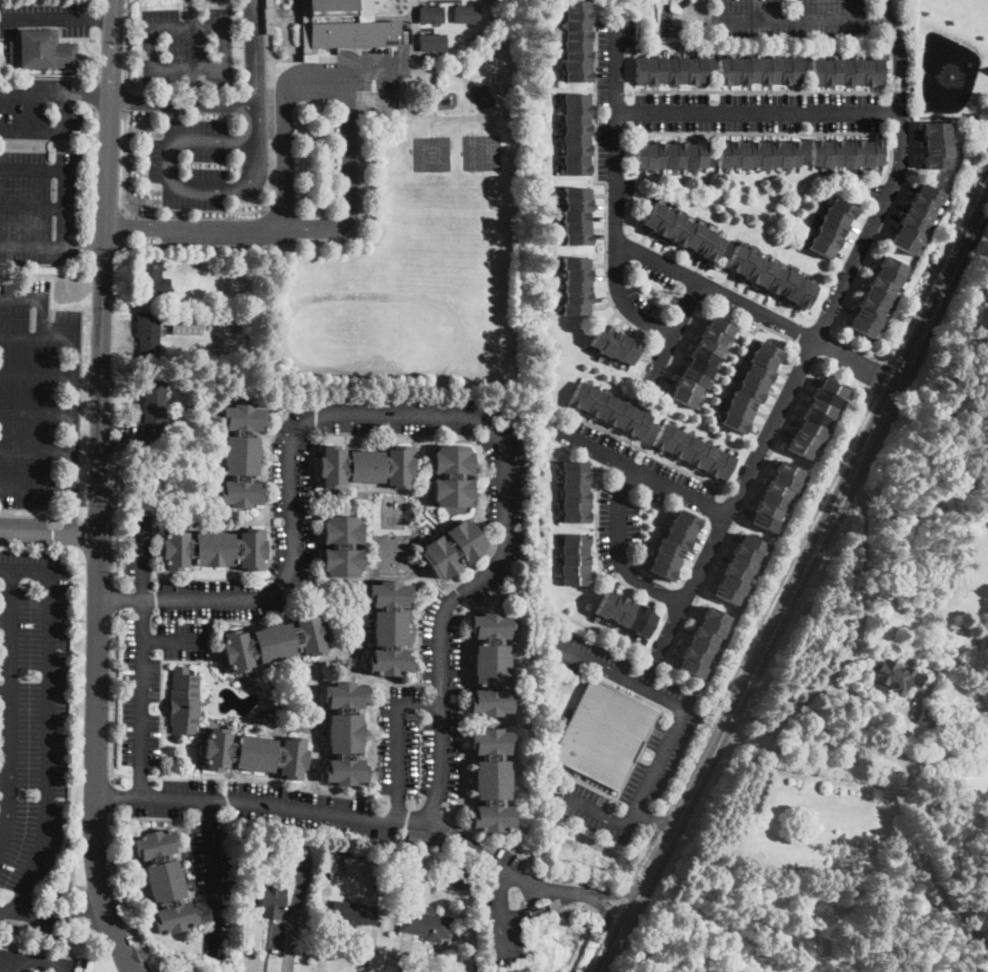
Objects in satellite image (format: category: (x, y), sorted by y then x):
building: (414, 1)
building: (575, 5)
road: (184, 9)
road: (702, 9)
building: (430, 13)
building: (465, 13)
road: (193, 14)
building: (577, 15)
parking lot: (42, 16)
road: (401, 16)
building: (269, 17)
road: (99, 18)
parking lot: (763, 18)
road: (44, 19)
road: (777, 19)
building: (576, 25)
building: (343, 26)
road: (472, 35)
building: (577, 35)
building: (431, 40)
road: (126, 43)
parking lot: (187, 45)
building: (575, 45)
building: (41, 51)
building: (577, 55)
road: (97, 56)
road: (339, 58)
road: (432, 60)
road: (179, 66)
building: (577, 66)
parking lot: (388, 69)
building: (660, 70)
building: (681, 70)
building: (753, 70)
building: (773, 70)
road: (362, 71)
building: (639, 71)
building: (650, 71)
building: (690, 71)
building: (700, 71)
building: (722, 71)
building: (733, 71)
building: (743, 71)
building: (764, 71)
building: (793, 71)
building: (837, 71)
building: (670, 72)
building: (783, 72)
building: (815, 72)
building: (856, 72)
building: (876, 72)
building: (827, 73)
building: (846, 73)
building: (866, 73)
building: (577, 76)
road: (338, 78)
parking lot: (901, 81)
road: (109, 83)
road: (765, 91)
road: (31, 94)
road: (94, 94)
road: (85, 95)
road: (124, 98)
building: (576, 98)
road: (183, 102)
road: (269, 102)
building: (577, 107)
parking lot: (38, 110)
parking lot: (703, 110)
road: (757, 111)
road: (61, 113)
building: (576, 118)
road: (482, 120)
building: (934, 127)
building: (577, 129)
road: (30, 130)
road: (763, 133)
building: (575, 138)
building: (935, 138)
building: (577, 148)
building: (815, 151)
building: (835, 151)
building: (855, 151)
building: (937, 151)
building: (825, 152)
building: (845, 152)
building: (876, 152)
building: (732, 153)
building: (866, 153)
building: (722, 154)
building: (742, 154)
building: (753, 154)
building: (773, 154)
building: (793, 154)
building: (639, 155)
building: (660, 155)
building: (700, 155)
building: (763, 155)
building: (783, 155)
building: (650, 156)
building: (670, 156)
building: (679, 156)
building: (690, 156)
building: (575, 159)
road: (122, 160)
building: (934, 163)
parking lot: (190, 164)
road: (32, 168)
building: (577, 170)
road: (92, 171)
parking lot: (889, 176)
road: (224, 189)
road: (615, 192)
building: (574, 193)
building: (929, 193)
road: (607, 200)
building: (922, 203)
building: (576, 204)
parking lot: (40, 205)
road: (32, 206)
road: (64, 207)
building: (840, 208)
building: (918, 214)
building: (573, 215)
building: (651, 215)
building: (835, 217)
building: (661, 222)
building: (912, 224)
building: (574, 226)
building: (672, 226)
road: (120, 227)
road: (132, 227)
road: (222, 227)
road: (289, 227)
building: (831, 227)
road: (355, 230)
parking lot: (227, 231)
building: (681, 232)
building: (908, 235)
building: (692, 236)
building: (827, 238)
building: (576, 239)
building: (702, 242)
building: (902, 244)
road: (31, 245)
road: (83, 246)
building: (819, 248)
building: (712, 249)
building: (732, 259)
building: (575, 263)
building: (744, 263)
building: (890, 265)
building: (753, 269)
building: (576, 274)
building: (764, 275)
building: (888, 276)
building: (774, 281)
building: (152, 283)
building: (785, 283)
building: (576, 285)
building: (880, 286)
building: (795, 289)
parking lot: (838, 292)
parking lot: (653, 294)
road: (120, 295)
building: (804, 295)
building: (876, 296)
road: (21, 297)
building: (577, 297)
building: (870, 306)
building: (575, 308)
road: (756, 309)
parking lot: (754, 310)
road: (42, 316)
road: (117, 317)
building: (866, 317)
building: (187, 325)
building: (720, 326)
building: (861, 328)
road: (749, 329)
building: (148, 331)
road: (673, 331)
road: (37, 334)
track: (371, 335)
building: (712, 335)
building: (599, 336)
road: (815, 340)
building: (608, 343)
building: (618, 346)
building: (708, 346)
road: (854, 347)
building: (768, 351)
building: (629, 352)
building: (703, 356)
building: (762, 360)
building: (699, 367)
building: (759, 372)
road: (37, 376)
building: (694, 376)
road: (883, 377)
building: (752, 381)
building: (688, 387)
building: (831, 388)
building: (643, 389)
building: (749, 392)
building: (577, 395)
building: (586, 397)
building: (824, 397)
parking lot: (38, 398)
building: (682, 398)
building: (153, 400)
building: (741, 401)
building: (595, 404)
building: (605, 407)
building: (819, 408)
building: (613, 412)
building: (738, 412)
road: (37, 413)
road: (435, 415)
building: (623, 415)
building: (813, 419)
building: (631, 422)
building: (733, 423)
building: (642, 426)
building: (811, 430)
road: (73, 435)
building: (660, 436)
road: (131, 438)
building: (805, 439)
building: (669, 441)
building: (679, 445)
building: (689, 449)
building: (798, 449)
road: (36, 452)
building: (697, 454)
building: (241, 456)
building: (706, 458)
building: (714, 464)
building: (574, 465)
building: (365, 467)
building: (724, 468)
building: (789, 470)
parking lot: (747, 472)
road: (643, 474)
building: (576, 475)
building: (452, 476)
building: (783, 481)
building: (574, 485)
road: (36, 489)
road: (98, 489)
building: (777, 490)
parking lot: (630, 493)
building: (576, 495)
building: (773, 501)
building: (575, 506)
building: (766, 511)
building: (576, 516)
building: (686, 519)
building: (763, 523)
building: (681, 529)
road: (48, 535)
building: (576, 539)
building: (675, 540)
road: (114, 541)
building: (752, 544)
building: (341, 546)
parking lot: (139, 547)
building: (212, 549)
building: (453, 549)
building: (574, 549)
building: (668, 549)
road: (619, 552)
building: (745, 553)
building: (576, 560)
building: (665, 560)
building: (741, 564)
building: (574, 569)
building: (661, 570)
building: (735, 574)
building: (575, 579)
building: (731, 585)
road: (792, 586)
building: (726, 595)
road: (115, 597)
building: (506, 598)
parking lot: (225, 601)
road: (770, 601)
building: (603, 603)
building: (615, 607)
building: (625, 613)
building: (715, 616)
building: (635, 618)
building: (645, 624)
building: (711, 626)
building: (389, 628)
road: (857, 629)
building: (704, 636)
road: (175, 641)
parking lot: (663, 641)
building: (273, 643)
building: (699, 647)
building: (694, 658)
road: (142, 659)
building: (491, 664)
building: (691, 669)
parking lot: (153, 675)
building: (896, 678)
building: (985, 678)
road: (863, 695)
road: (113, 696)
building: (278, 700)
building: (184, 702)
road: (11, 712)
building: (926, 718)
road: (48, 719)
building: (265, 719)
road: (906, 726)
parking lot: (33, 727)
building: (344, 734)
building: (603, 734)
road: (670, 734)
road: (396, 740)
parking lot: (665, 742)
road: (852, 750)
building: (254, 754)
road: (121, 773)
road: (139, 775)
building: (491, 780)
road: (259, 781)
road: (111, 794)
crop: (815, 816)
parking lot: (250, 817)
road: (353, 817)
road: (651, 818)
road: (660, 822)
building: (423, 840)
building: (346, 850)
building: (367, 853)
building: (351, 864)
road: (213, 877)
building: (440, 878)
building: (460, 878)
building: (164, 881)
road: (618, 887)
road: (619, 892)
road: (622, 892)
road: (118, 893)
building: (271, 900)
road: (615, 905)
parking lot: (503, 906)
road: (295, 908)
parking lot: (290, 912)
road: (502, 912)
building: (353, 914)
road: (39, 916)
road: (93, 916)
road: (608, 916)
road: (609, 919)
building: (425, 925)
road: (321, 944)
road: (266, 947)
road: (596, 949)
road: (368, 950)
road: (10, 954)
road: (404, 954)
road: (9, 959)
road: (42, 959)
parking lot: (35, 962)
road: (18, 963)
road: (287, 964)
road: (9, 966)
road: (64, 967)
road: (5, 971)

